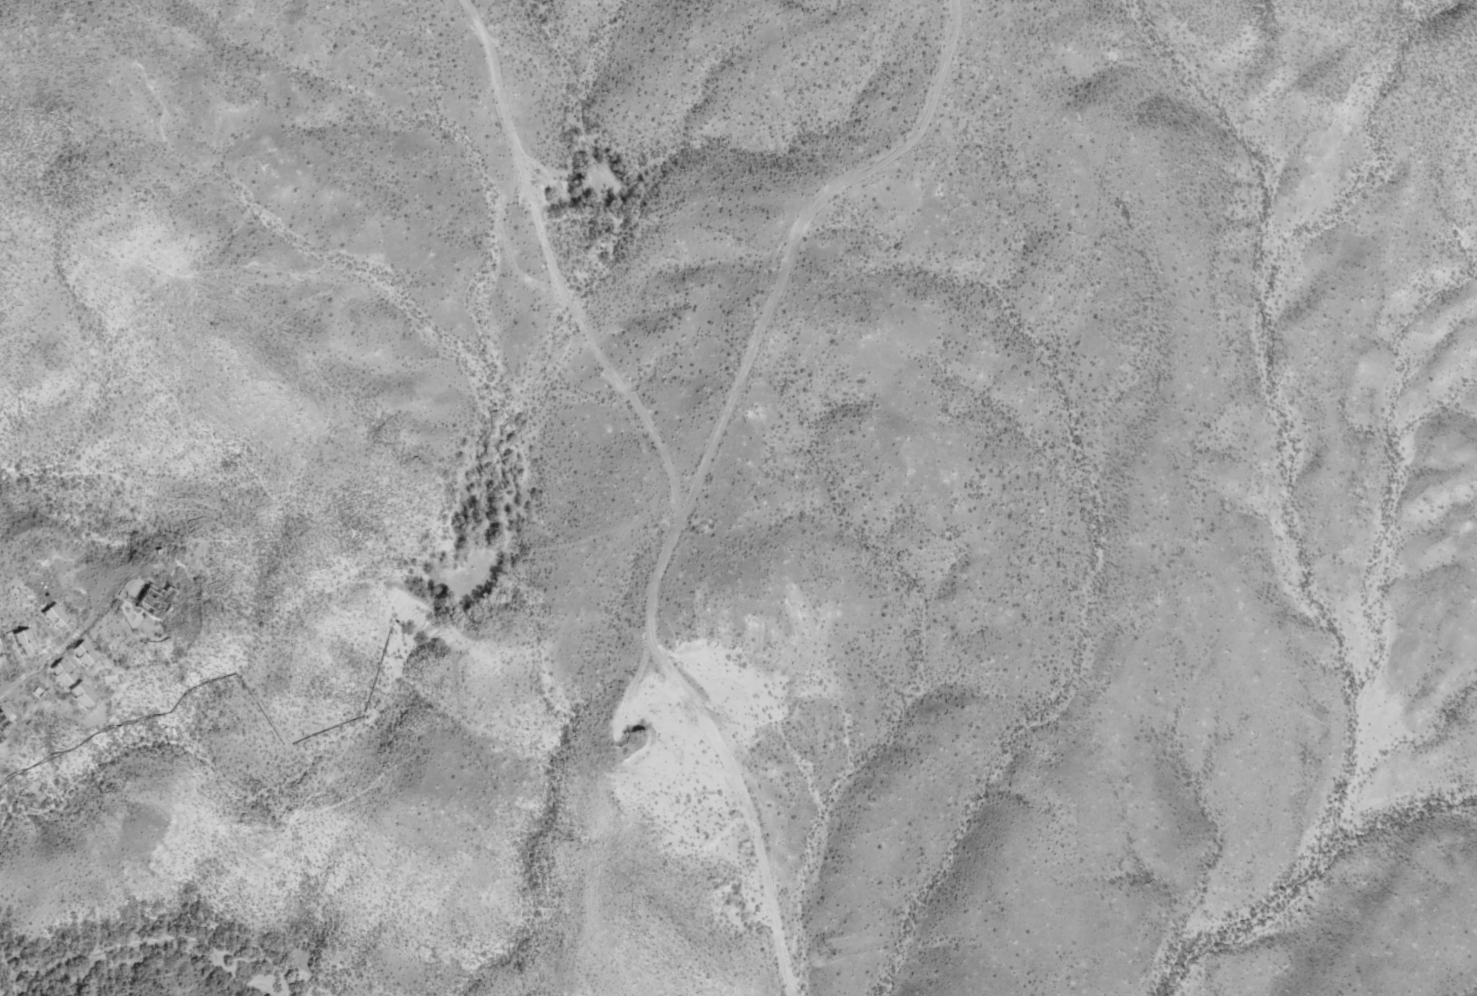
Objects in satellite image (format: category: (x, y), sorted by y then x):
road: (707, 474)
road: (44, 663)

